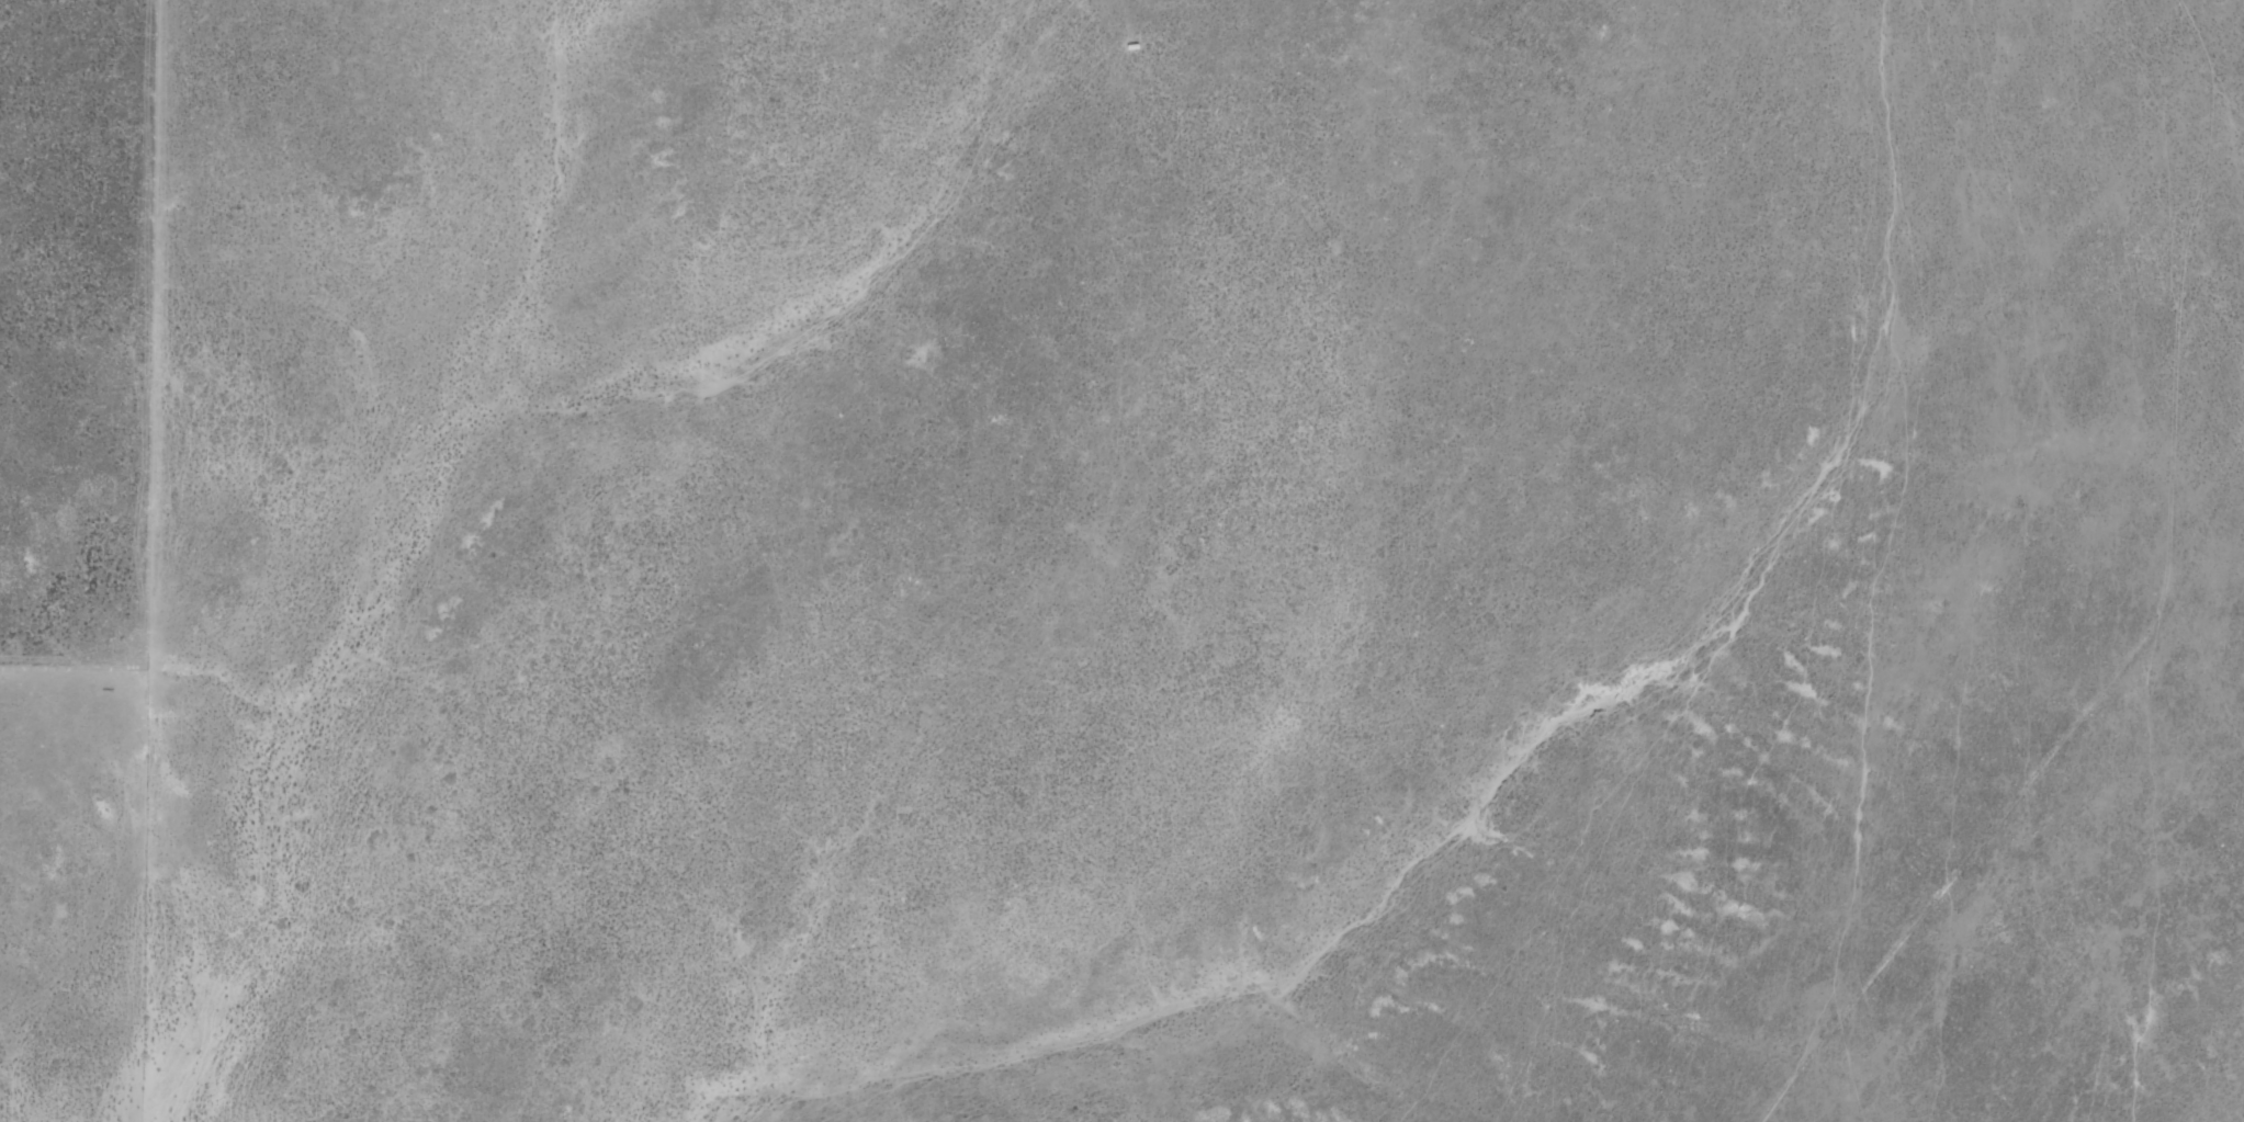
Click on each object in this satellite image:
road: (2223, 47)
road: (2027, 808)

